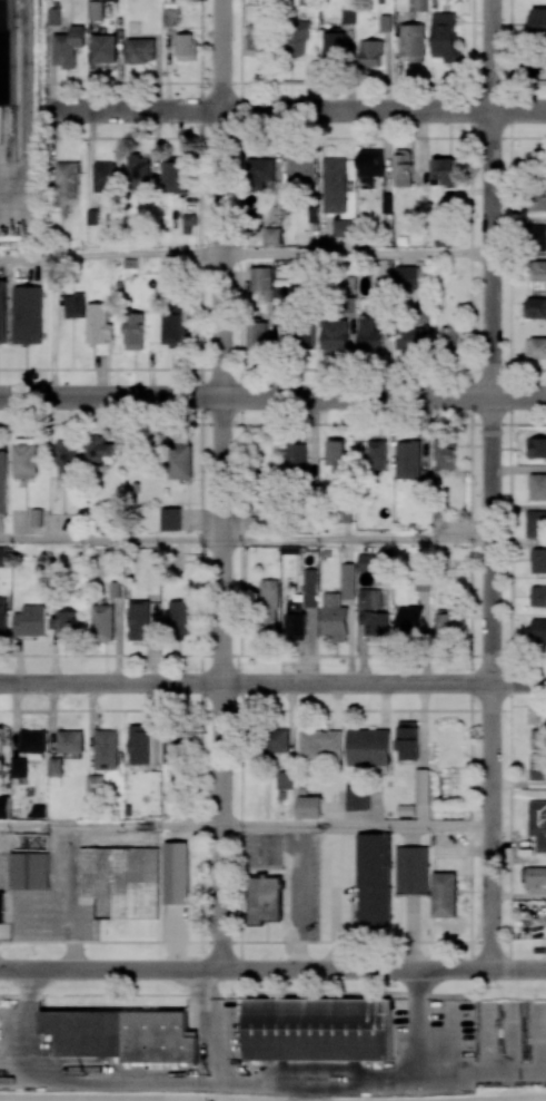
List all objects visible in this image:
building: (419, 6)
building: (95, 9)
building: (348, 13)
building: (53, 16)
building: (538, 23)
building: (445, 37)
building: (256, 39)
building: (297, 39)
building: (413, 42)
building: (68, 46)
building: (334, 46)
building: (186, 47)
building: (105, 48)
building: (139, 50)
building: (370, 53)
road: (295, 111)
power tower: (206, 145)
building: (369, 166)
building: (403, 167)
building: (300, 169)
building: (444, 171)
building: (139, 173)
building: (259, 173)
building: (103, 176)
building: (175, 177)
building: (68, 178)
building: (332, 185)
building: (538, 197)
building: (189, 224)
building: (343, 228)
building: (271, 235)
building: (536, 237)
road: (110, 254)
road: (355, 254)
building: (538, 271)
building: (407, 277)
building: (261, 278)
building: (282, 296)
building: (75, 305)
building: (536, 307)
building: (3, 312)
building: (27, 314)
building: (98, 323)
building: (172, 327)
building: (135, 331)
building: (257, 334)
building: (298, 334)
building: (334, 334)
building: (368, 334)
building: (408, 337)
building: (449, 337)
power tower: (205, 341)
building: (536, 347)
road: (272, 397)
building: (538, 448)
building: (97, 450)
building: (66, 453)
building: (336, 453)
building: (445, 453)
building: (376, 454)
building: (24, 458)
building: (179, 459)
building: (297, 459)
building: (408, 460)
building: (3, 482)
road: (220, 485)
road: (489, 485)
building: (537, 486)
building: (169, 519)
building: (536, 523)
road: (110, 540)
road: (355, 542)
power tower: (206, 553)
building: (3, 556)
building: (537, 560)
building: (369, 562)
building: (348, 581)
building: (310, 588)
building: (537, 596)
building: (369, 598)
building: (268, 606)
building: (2, 615)
building: (179, 617)
building: (334, 618)
building: (30, 620)
building: (138, 620)
building: (295, 621)
building: (410, 621)
building: (102, 622)
building: (446, 623)
building: (64, 625)
building: (375, 626)
building: (538, 630)
road: (272, 685)
power tower: (203, 733)
building: (538, 738)
building: (407, 739)
building: (1, 740)
building: (32, 740)
building: (70, 741)
building: (277, 741)
building: (138, 744)
building: (320, 745)
building: (368, 747)
building: (106, 749)
building: (171, 749)
building: (56, 766)
building: (537, 766)
building: (19, 767)
building: (284, 779)
building: (93, 784)
building: (421, 786)
building: (357, 795)
building: (309, 806)
building: (4, 807)
building: (537, 824)
road: (109, 826)
road: (354, 826)
building: (13, 842)
building: (411, 869)
building: (29, 871)
building: (175, 873)
building: (533, 877)
building: (374, 878)
building: (120, 881)
building: (444, 895)
building: (264, 900)
building: (1, 906)
power tower: (205, 920)
road: (272, 971)
building: (318, 1029)
building: (122, 1034)
power tower: (209, 1073)
power tower: (86, 1074)
road: (148, 1097)
road: (526, 1099)
road: (464, 1100)

